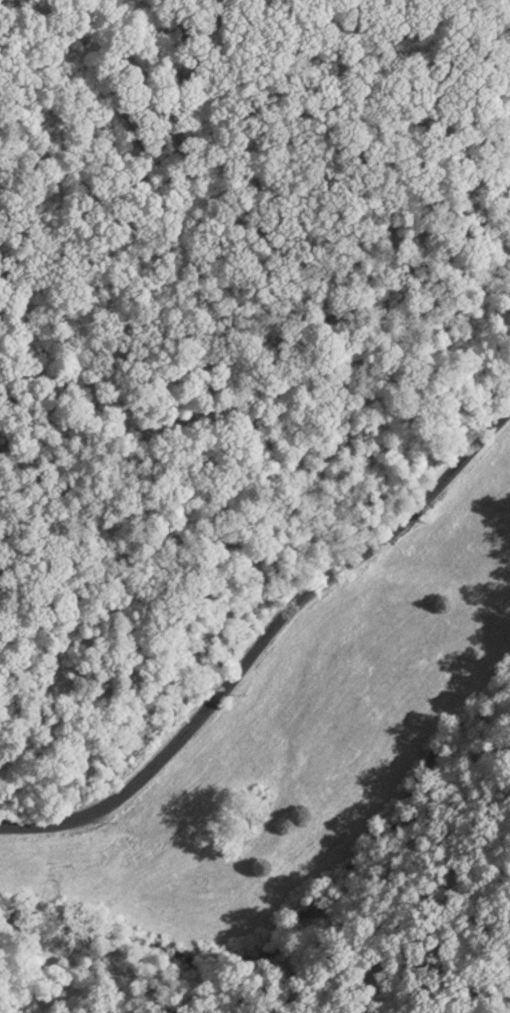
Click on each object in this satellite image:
road: (263, 634)
road: (412, 941)

